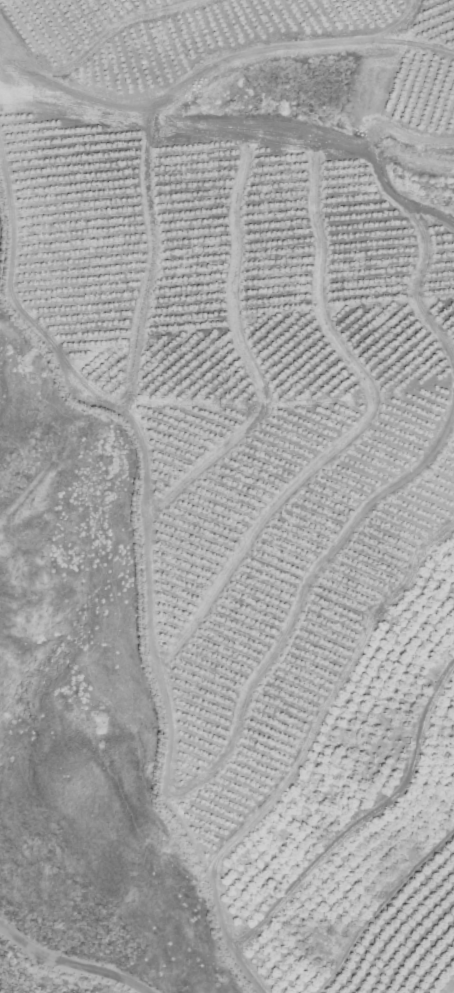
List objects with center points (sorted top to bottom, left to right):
road: (397, 25)
road: (116, 27)
road: (207, 69)
road: (398, 135)
road: (312, 146)
road: (411, 158)
road: (149, 261)
road: (413, 291)
road: (241, 352)
road: (354, 432)
road: (145, 562)
road: (300, 592)
road: (330, 697)
road: (363, 820)
road: (67, 966)

